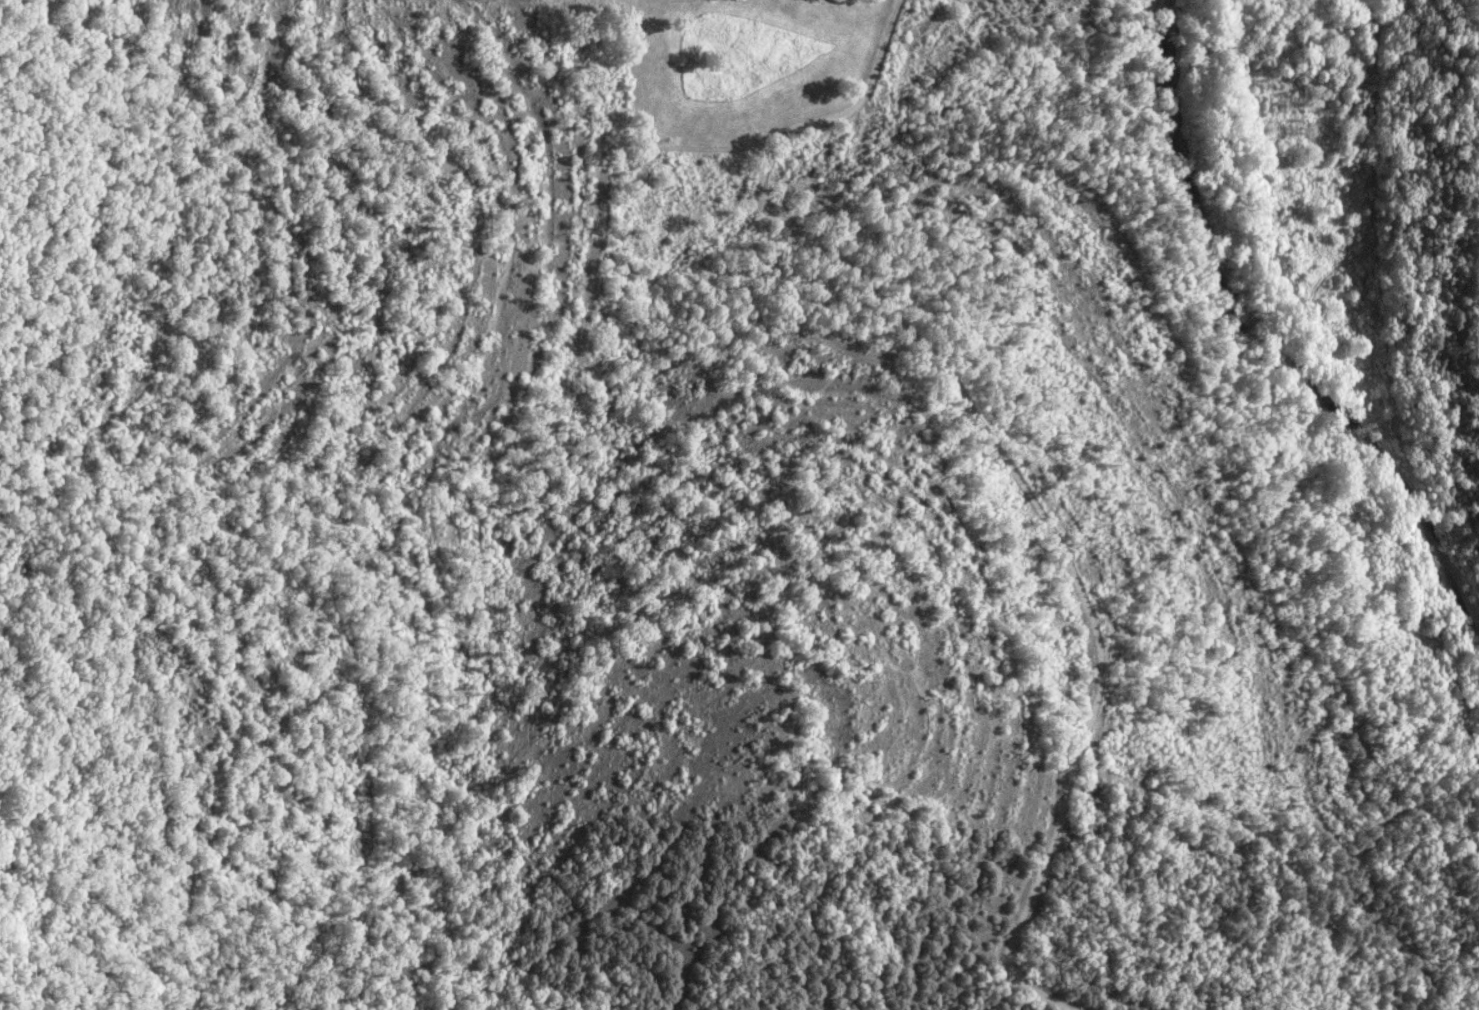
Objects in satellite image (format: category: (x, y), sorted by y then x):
road: (800, 132)
road: (1088, 607)
road: (1362, 729)

